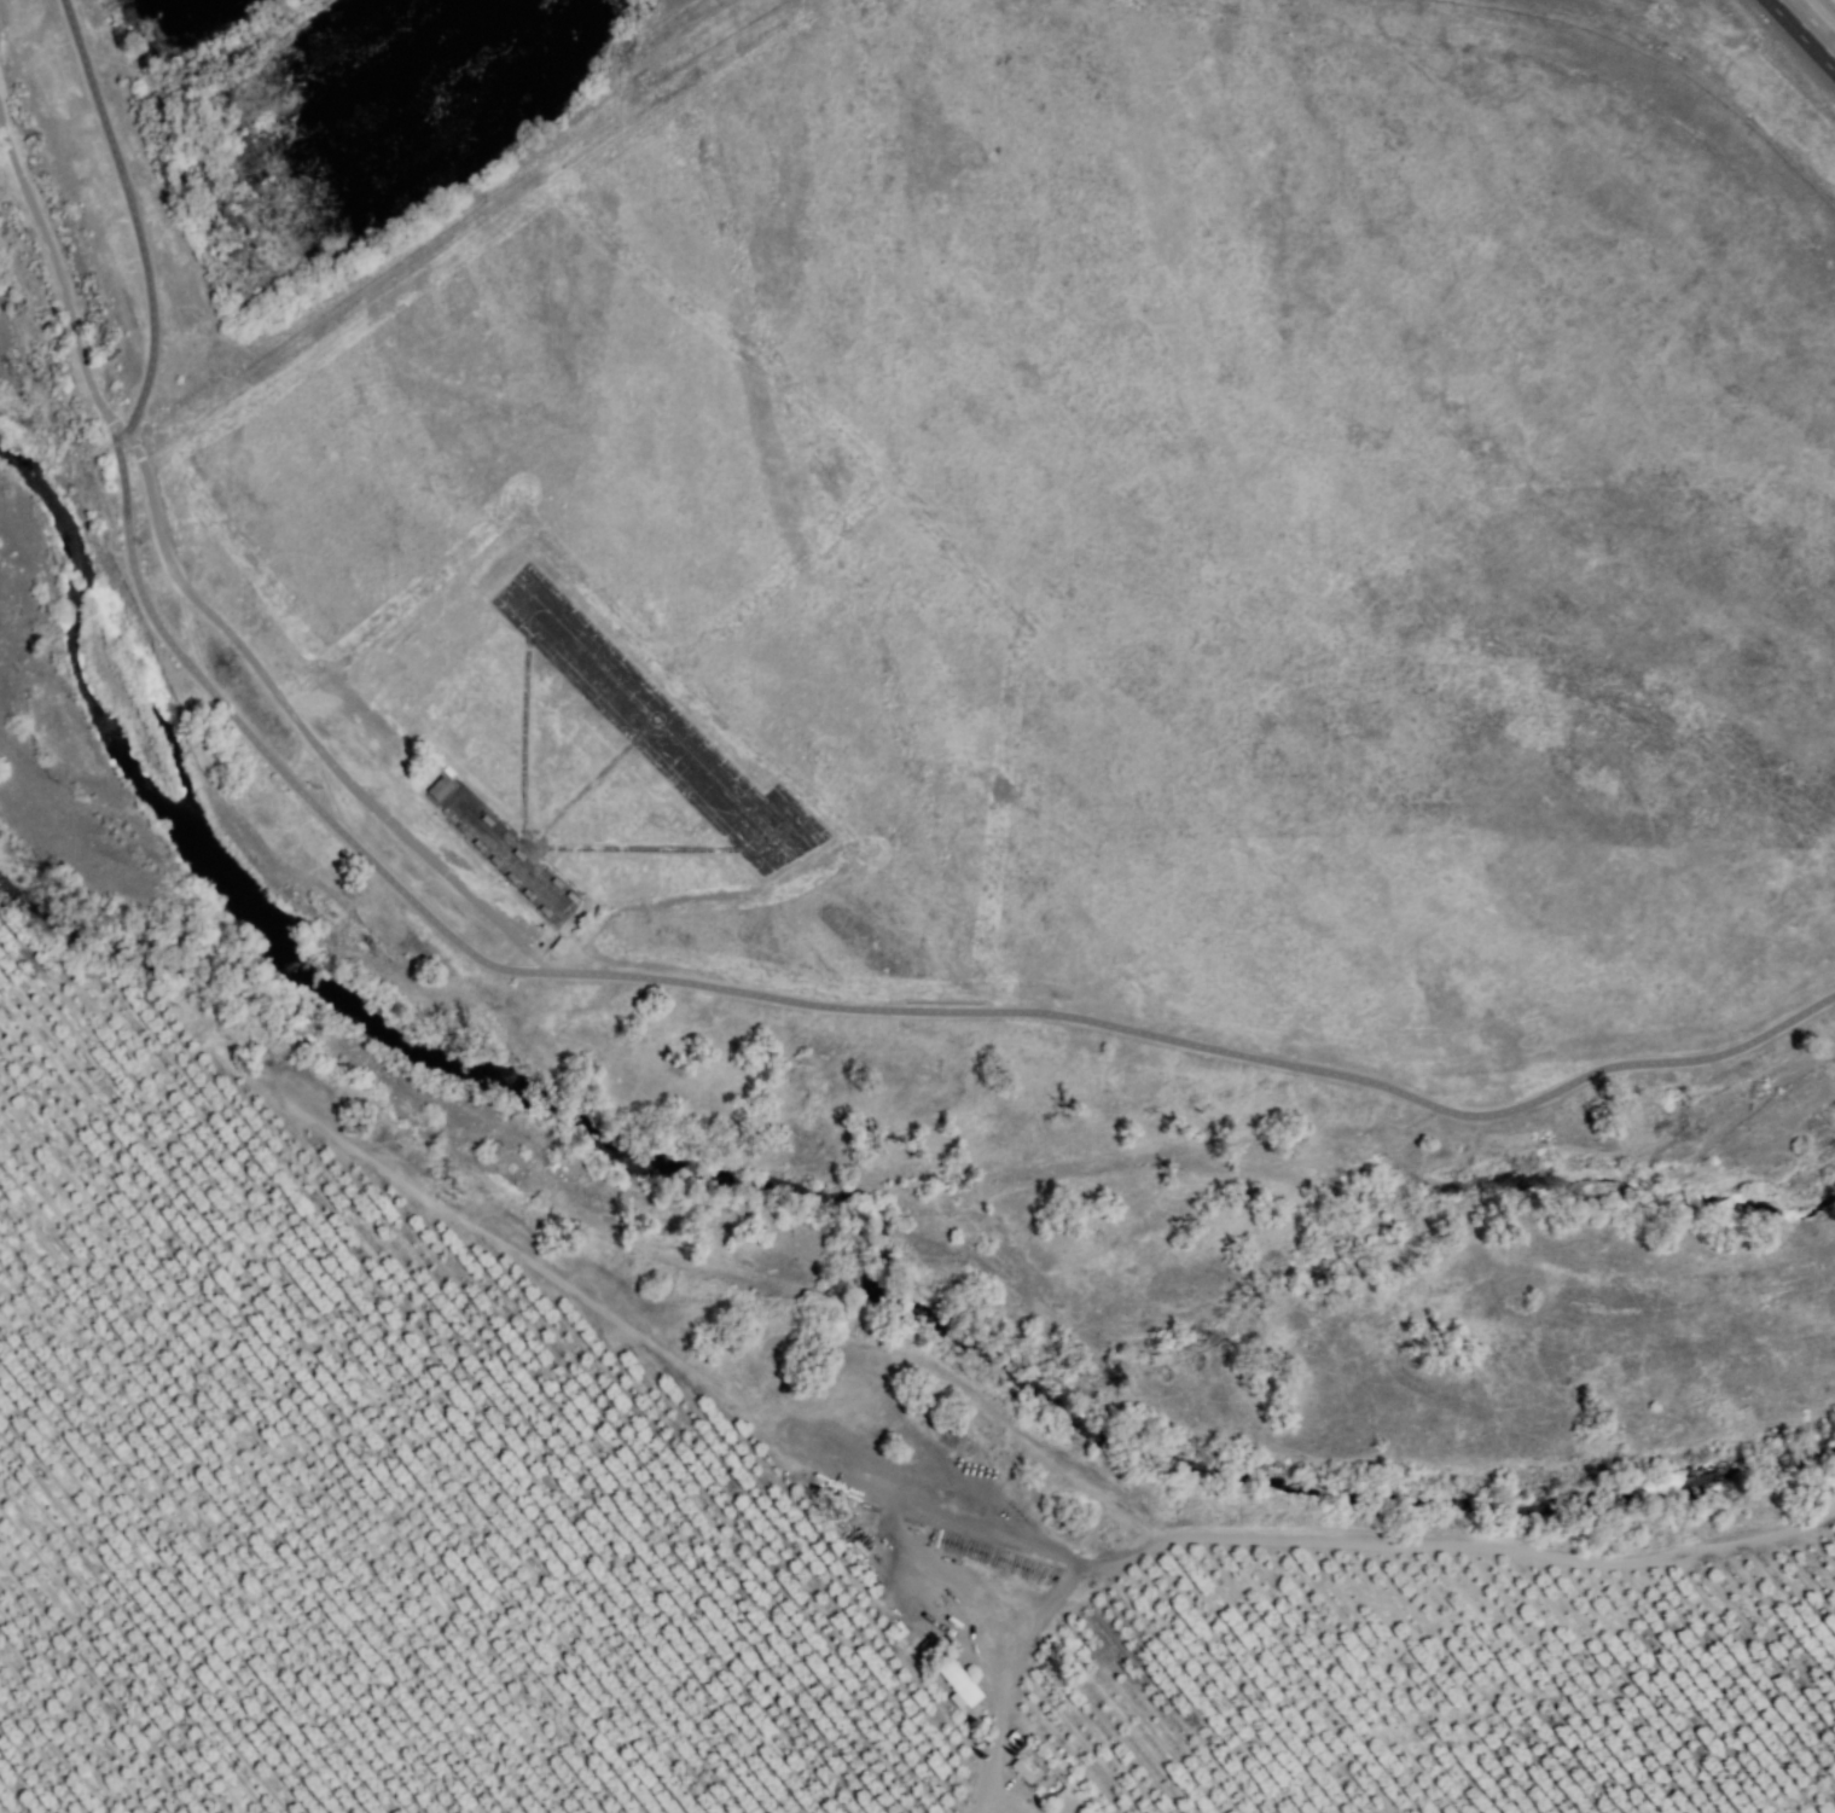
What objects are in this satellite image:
road: (1805, 30)
road: (130, 214)
road: (57, 283)
park: (1107, 510)
road: (288, 709)
building: (440, 789)
building: (486, 820)
building: (461, 829)
building: (477, 844)
airport runway: (811, 847)
building: (517, 854)
building: (494, 861)
parking lot: (459, 876)
building: (511, 878)
building: (556, 882)
building: (527, 894)
building: (544, 911)
building: (559, 946)
road: (843, 1006)
building: (846, 1501)
road: (1000, 1539)
building: (855, 1548)
building: (1038, 1568)
road: (1003, 1677)
building: (958, 1684)
building: (1012, 1739)
building: (1027, 1766)
building: (1059, 1767)
building: (1086, 1790)

